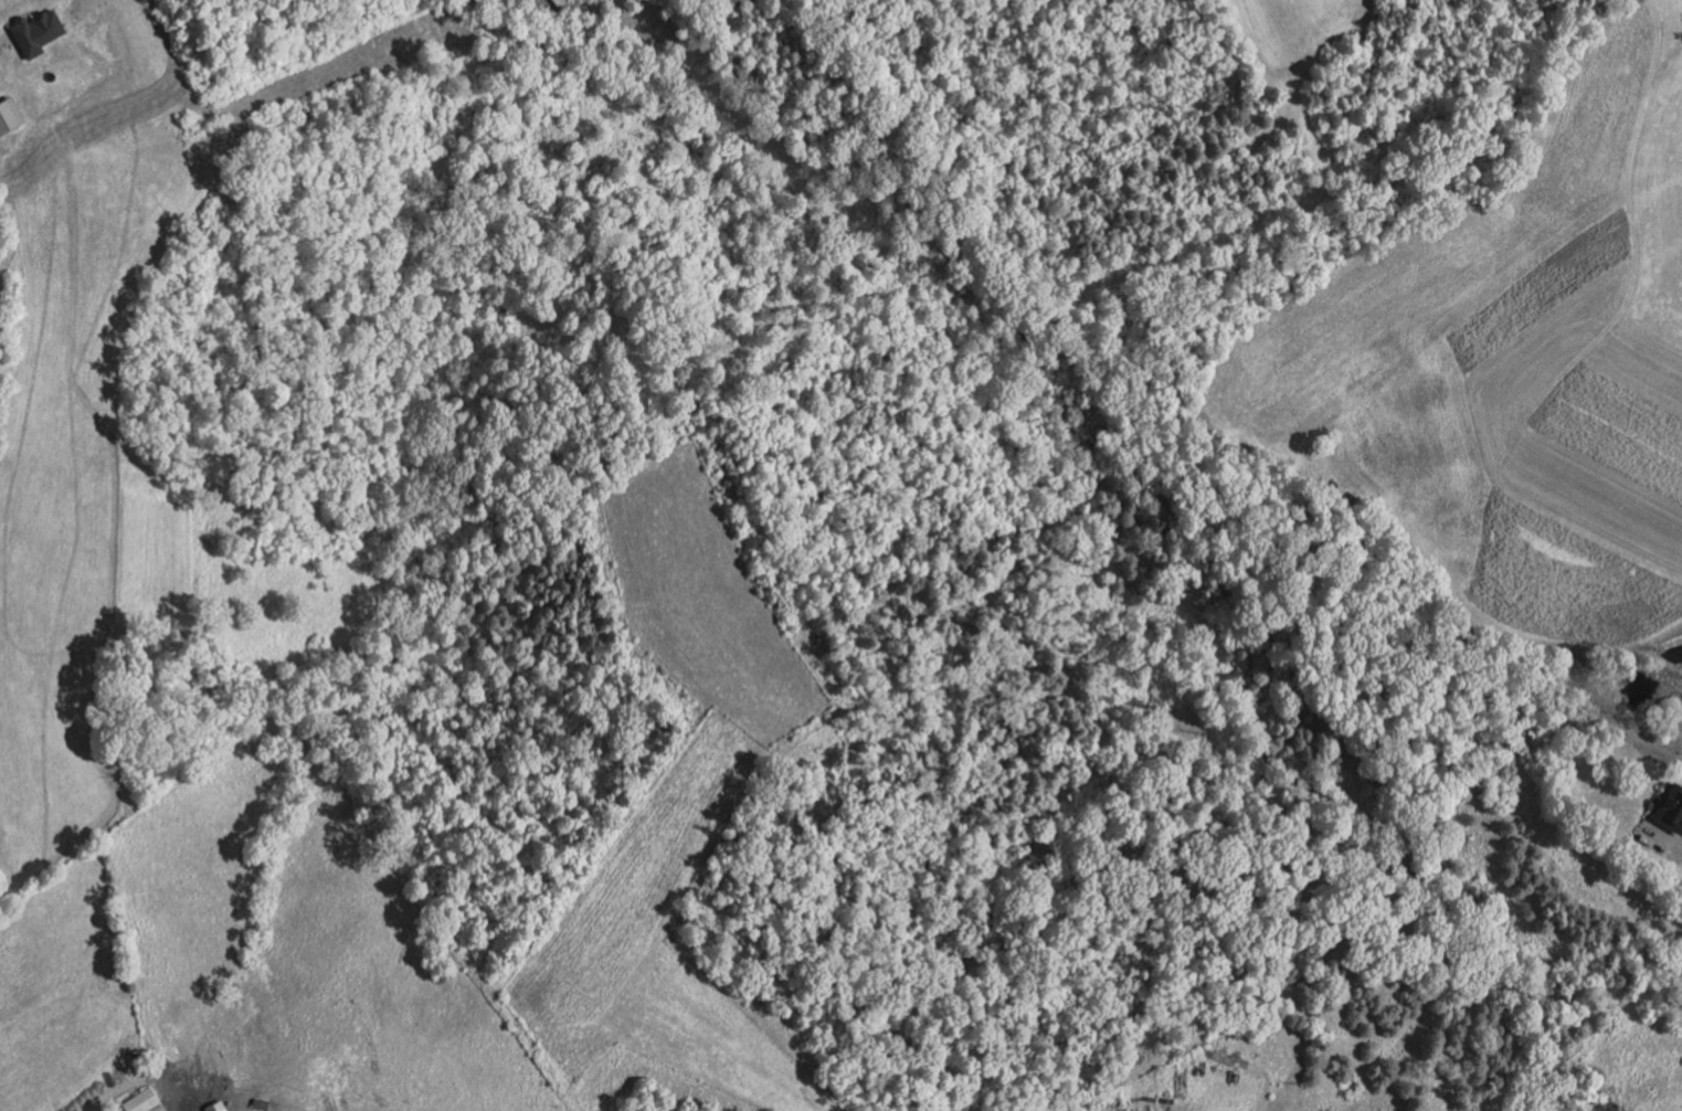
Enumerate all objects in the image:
building: (562, 2)
road: (1681, 8)
building: (34, 31)
road: (7, 39)
road: (1658, 39)
building: (9, 114)
road: (1635, 260)
crop: (1544, 289)
crop: (1617, 428)
building: (1336, 495)
crop: (1562, 582)
building: (1670, 807)
road: (1662, 842)
crop: (626, 889)
road: (106, 1094)
building: (146, 1101)
building: (261, 1103)
building: (218, 1105)

